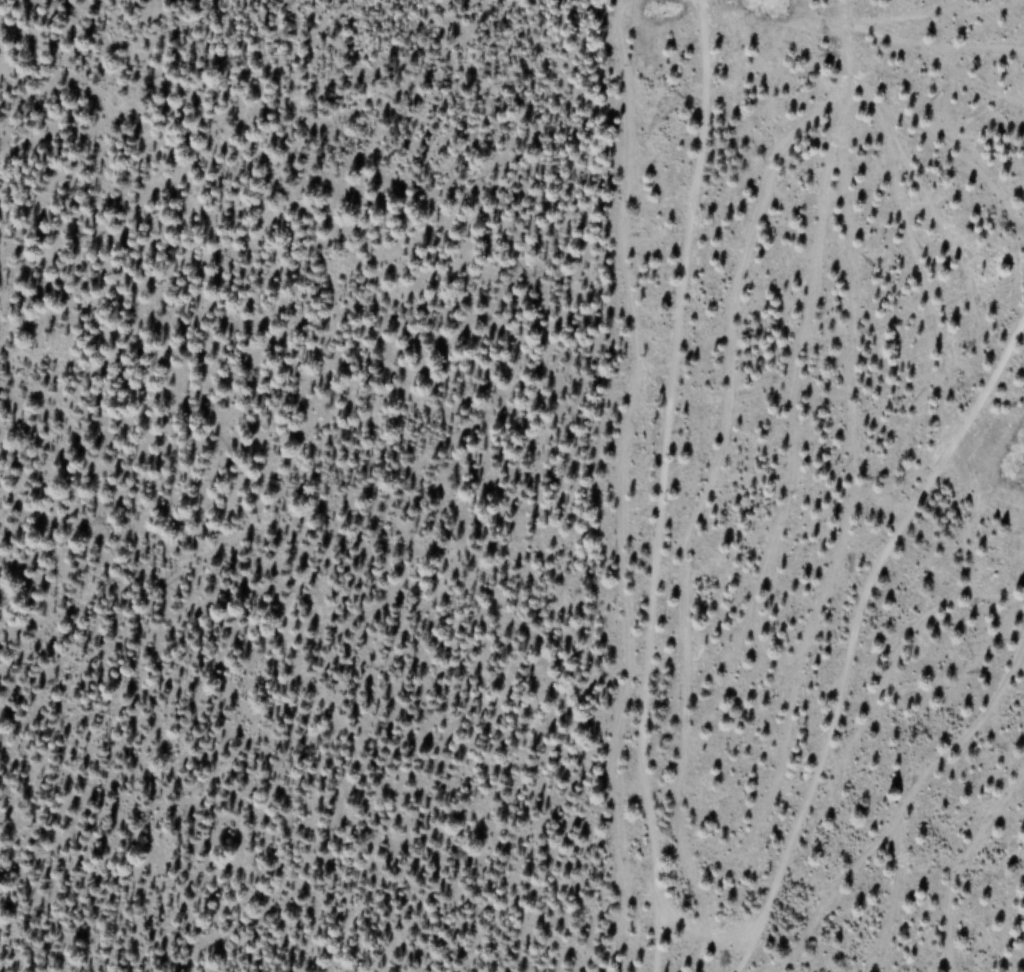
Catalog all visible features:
road: (659, 485)
road: (859, 631)

